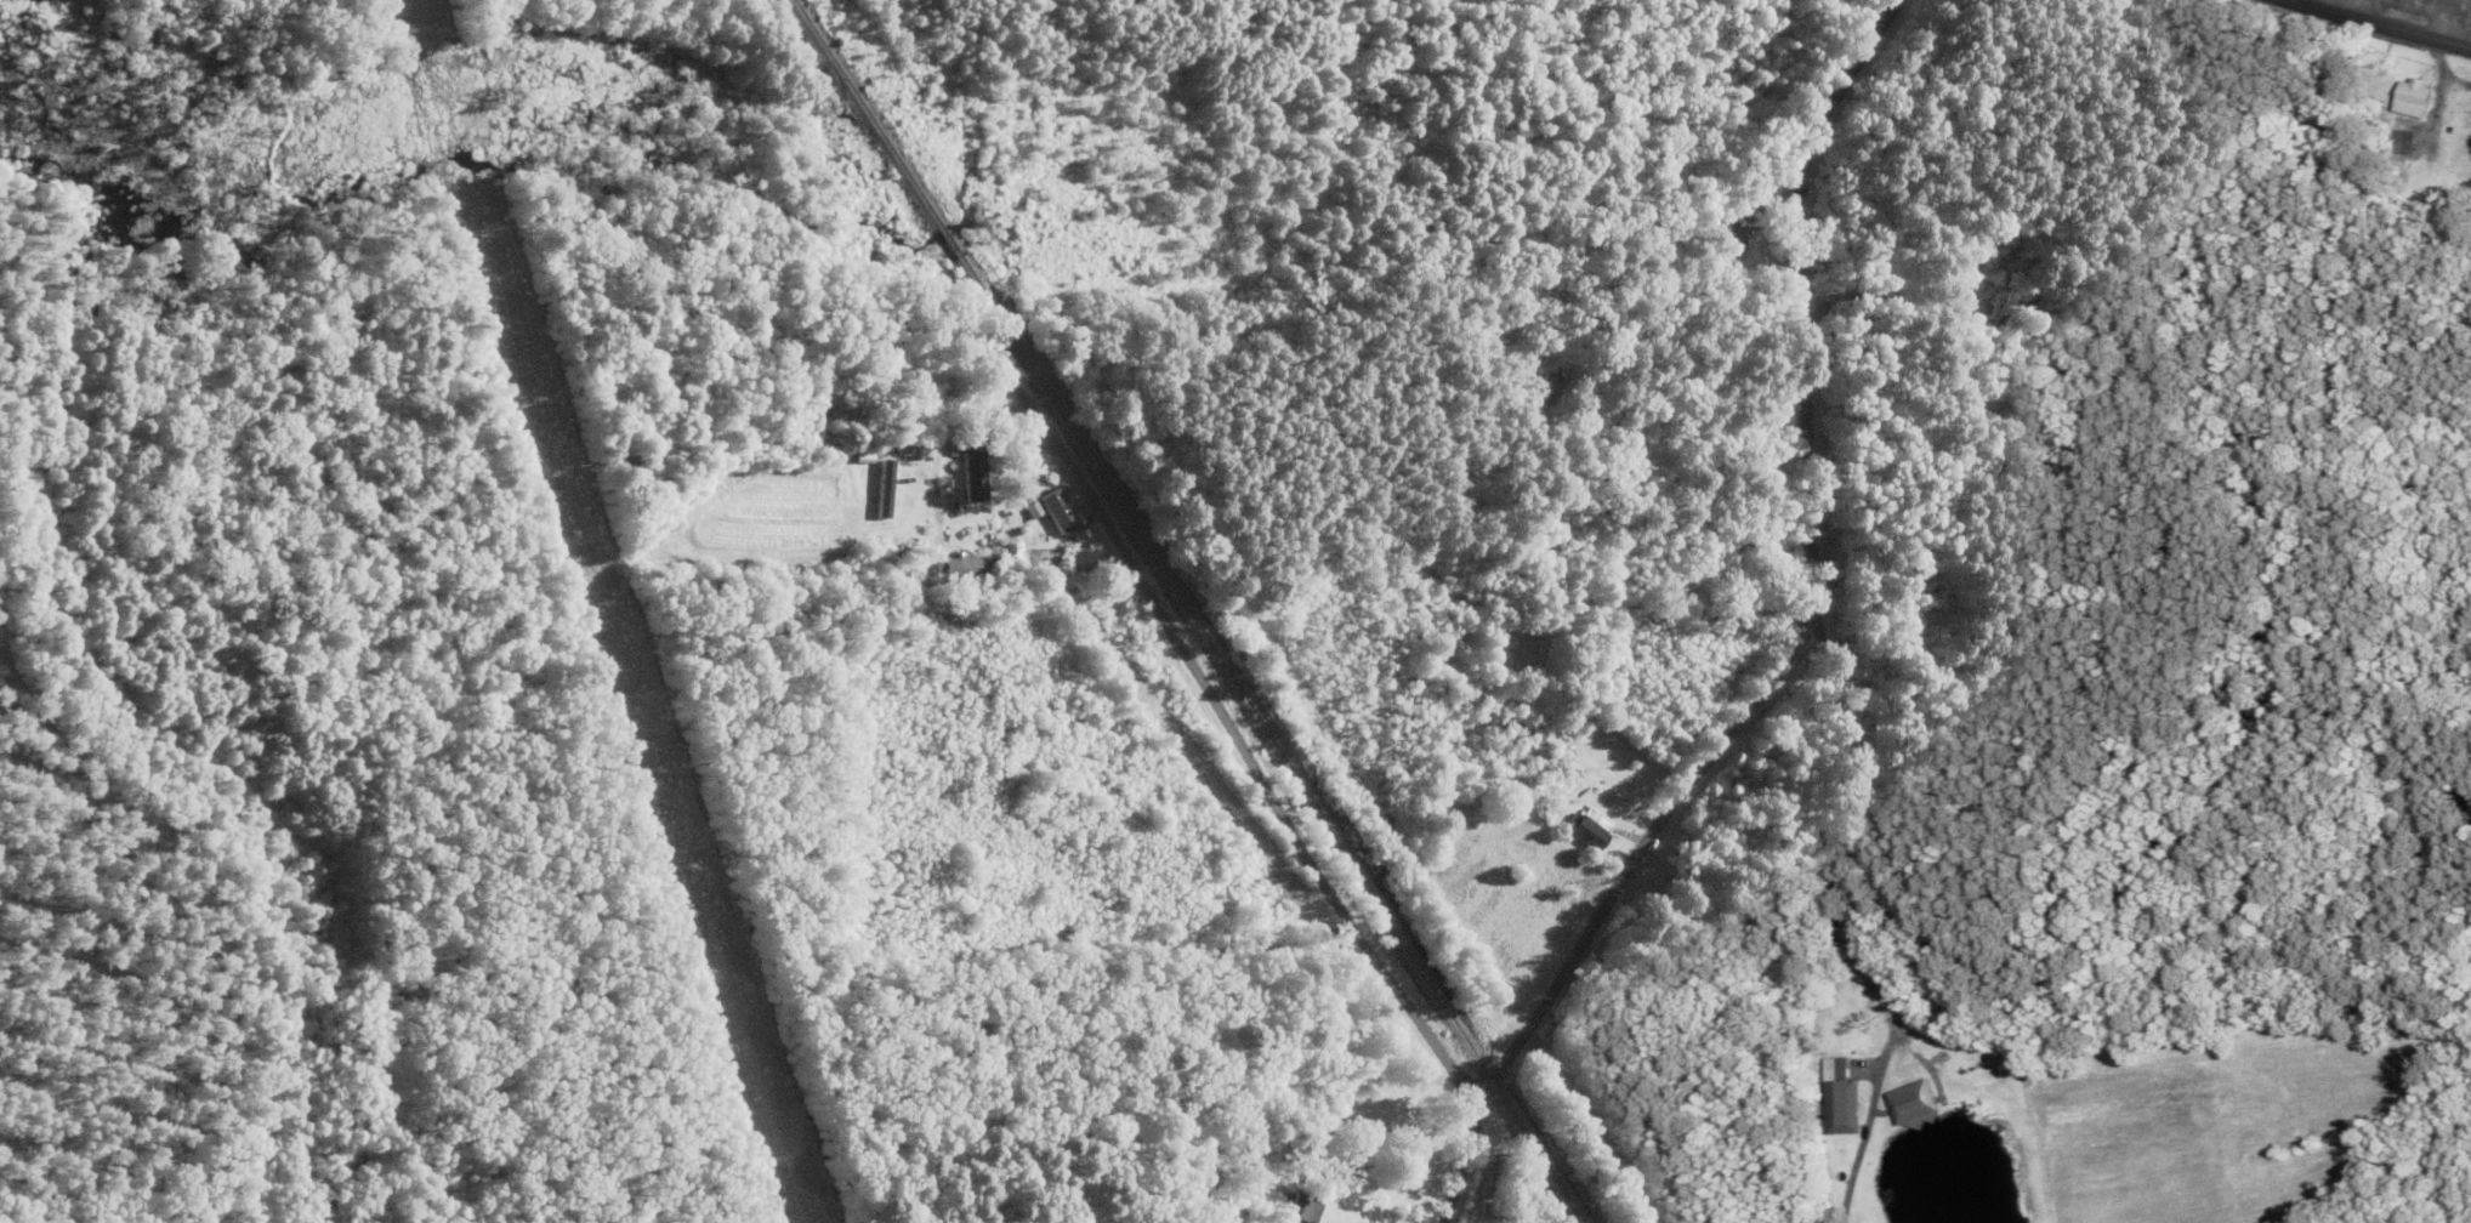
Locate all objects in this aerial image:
road: (2375, 24)
building: (2415, 98)
building: (1731, 231)
building: (2017, 315)
building: (973, 477)
building: (1052, 521)
building: (960, 569)
road: (1793, 576)
road: (1130, 592)
building: (1110, 603)
railway: (1185, 613)
building: (1512, 726)
building: (1587, 829)
building: (1266, 897)
building: (1842, 1098)
building: (1913, 1103)
road: (1466, 1151)
building: (1303, 1207)

